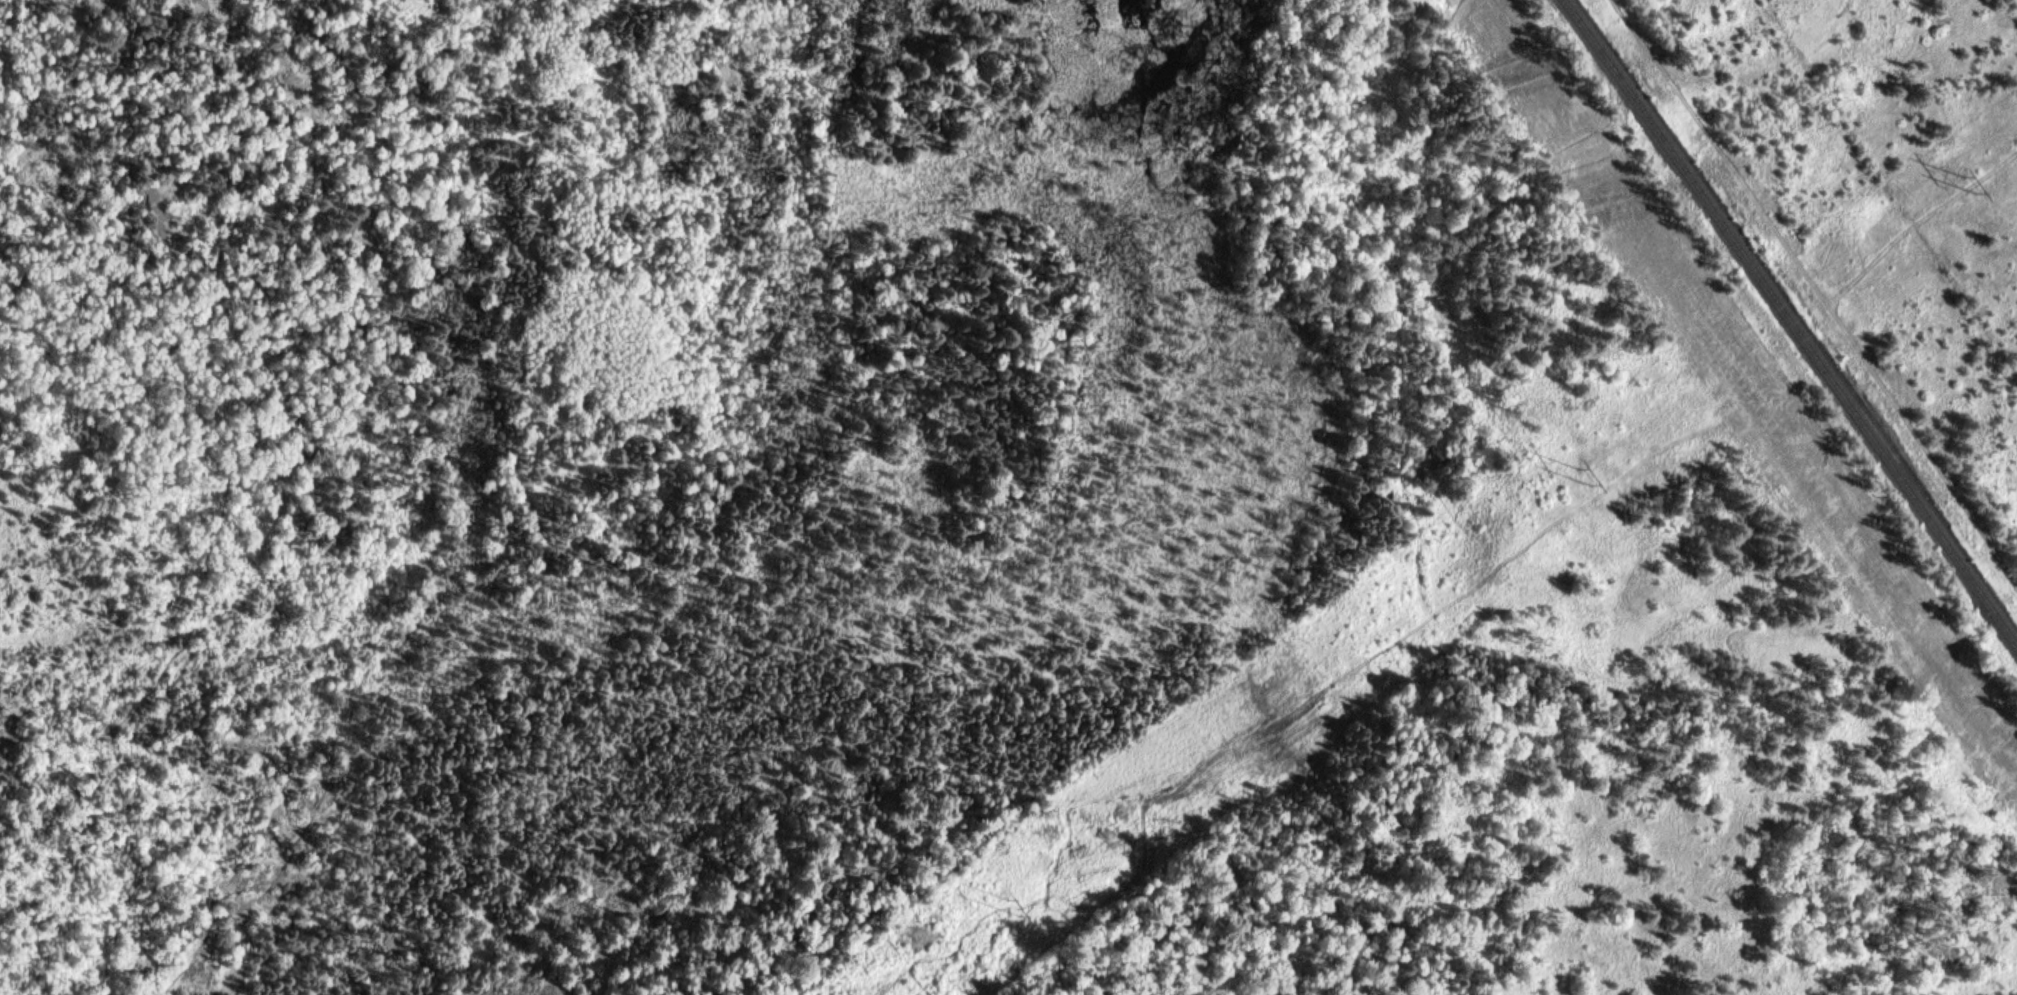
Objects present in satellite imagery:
road: (279, 4)
road: (1906, 166)
power tower: (1971, 181)
road: (1818, 285)
railway: (1793, 319)
road: (1683, 325)
power tower: (1585, 475)
power tower: (1020, 901)

